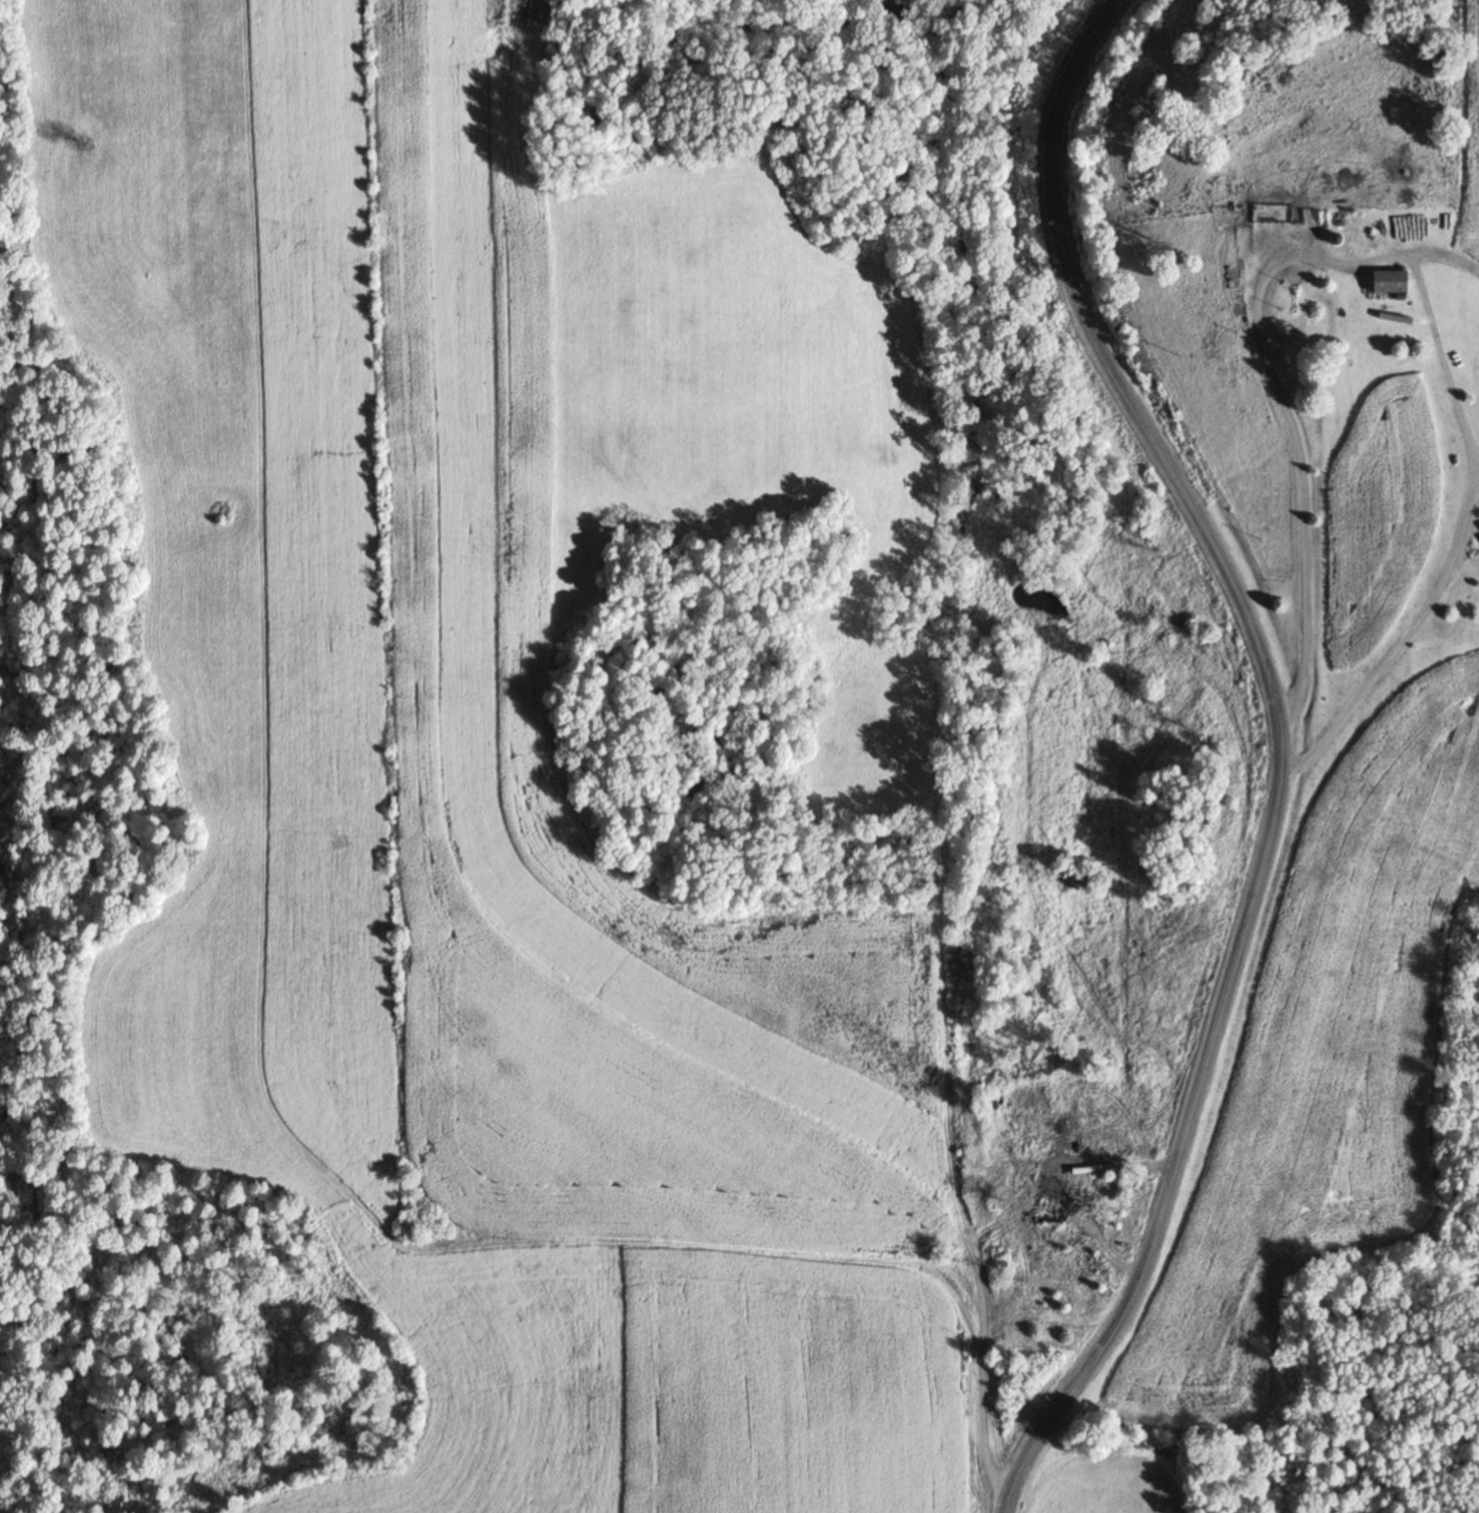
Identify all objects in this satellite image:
building: (1393, 281)
road: (1327, 516)
road: (1275, 750)
building: (1024, 1166)
building: (1051, 1214)

